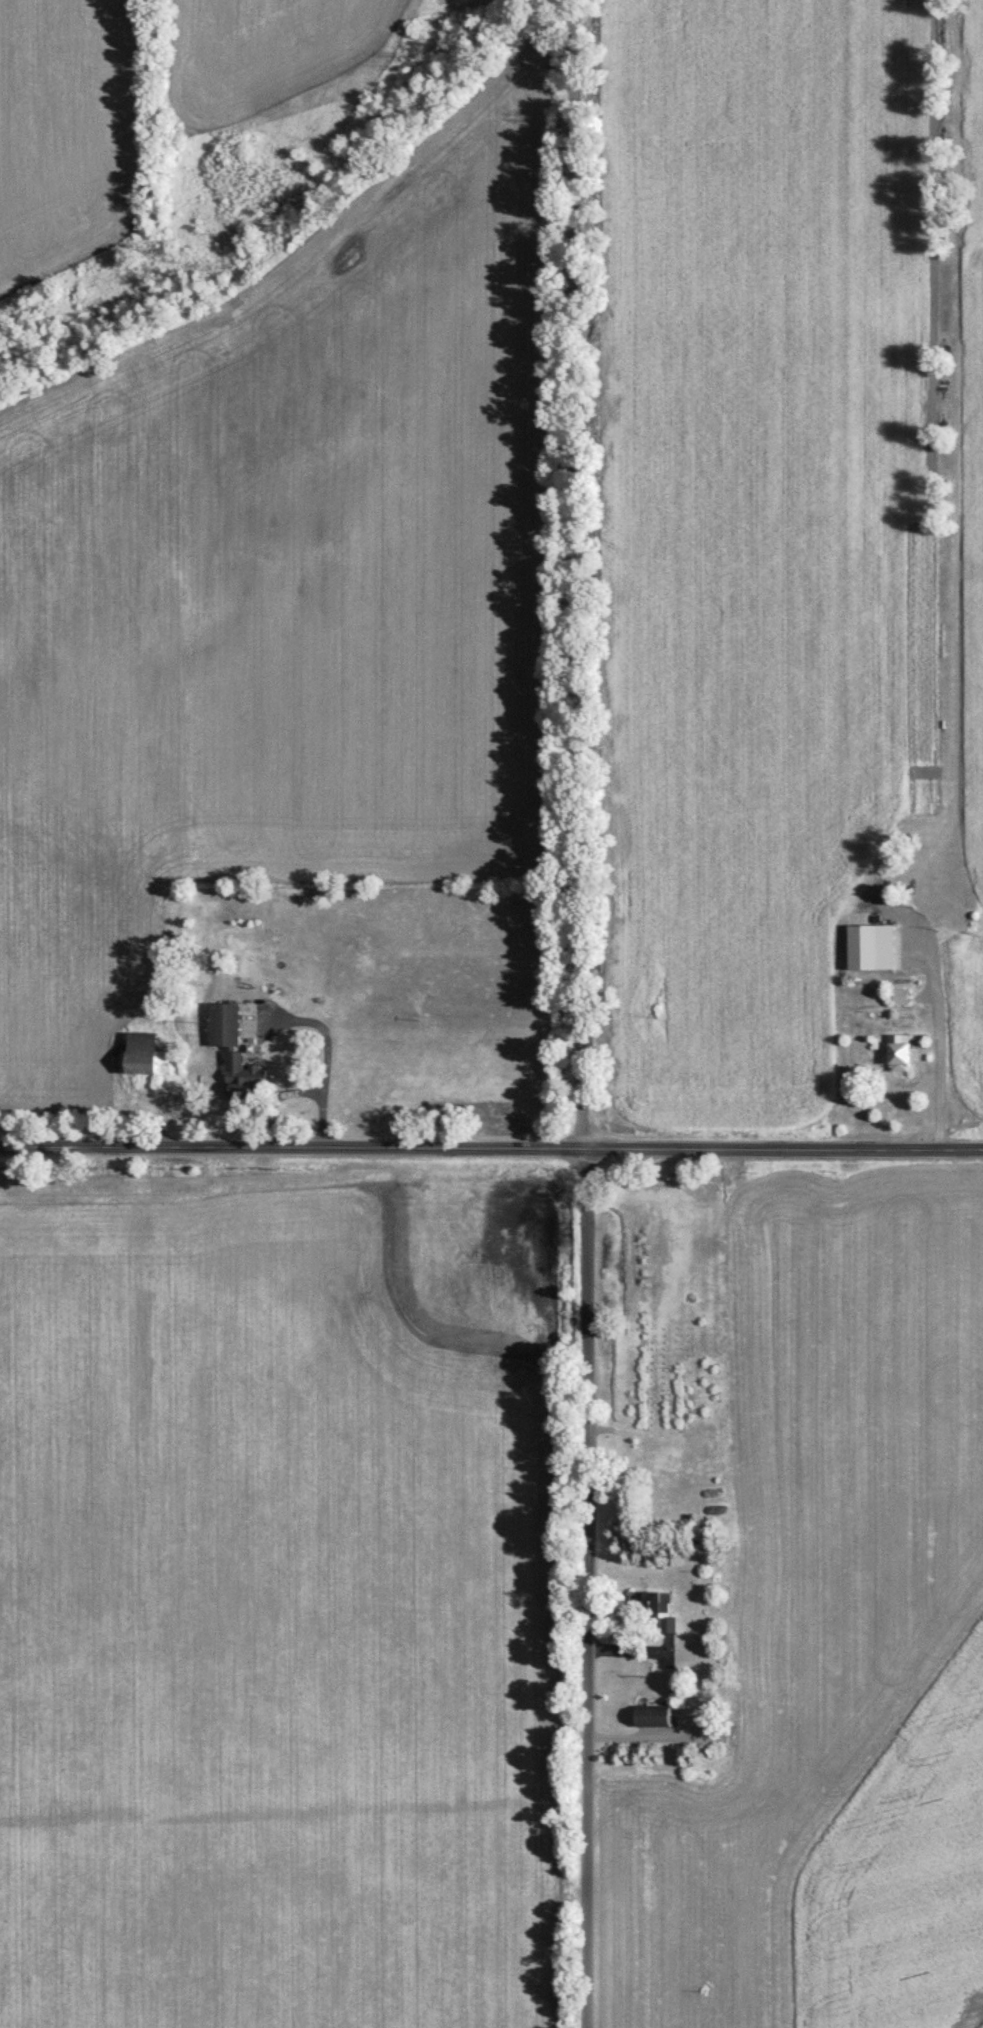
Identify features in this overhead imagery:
building: (871, 945)
building: (901, 994)
road: (586, 1014)
building: (230, 1036)
building: (899, 1051)
building: (145, 1053)
road: (491, 1156)
building: (656, 1605)
building: (653, 1717)

